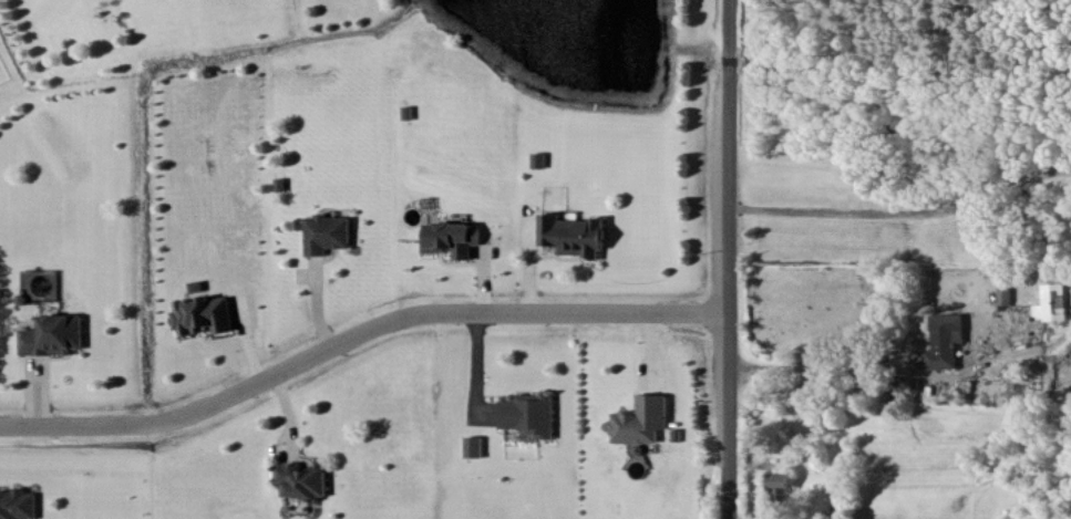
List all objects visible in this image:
building: (539, 159)
road: (898, 211)
building: (327, 233)
building: (574, 235)
building: (454, 238)
road: (719, 259)
building: (1006, 295)
building: (1053, 302)
building: (204, 314)
building: (55, 334)
road: (353, 335)
building: (946, 341)
building: (531, 414)
building: (642, 419)
building: (475, 446)
building: (302, 479)
building: (781, 486)
building: (18, 504)

